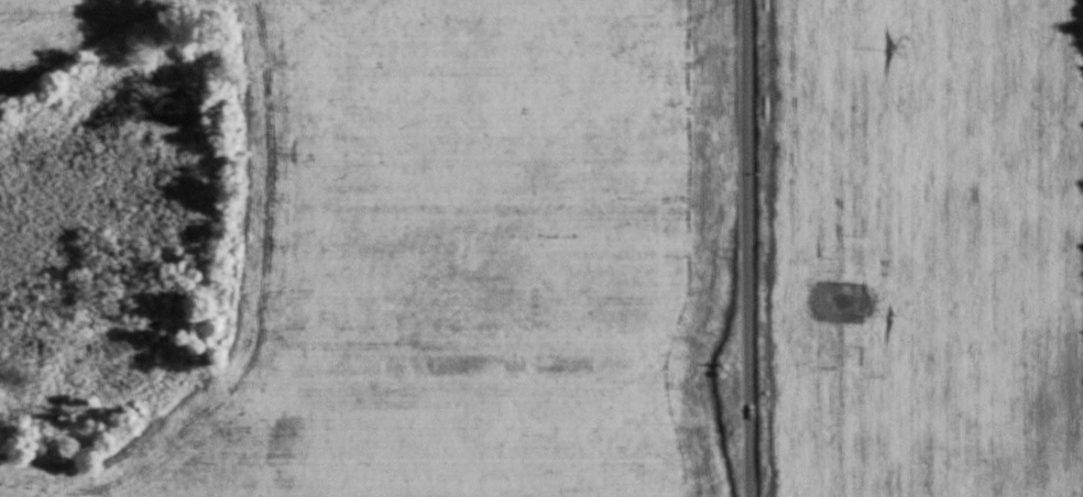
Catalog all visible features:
road: (755, 248)

